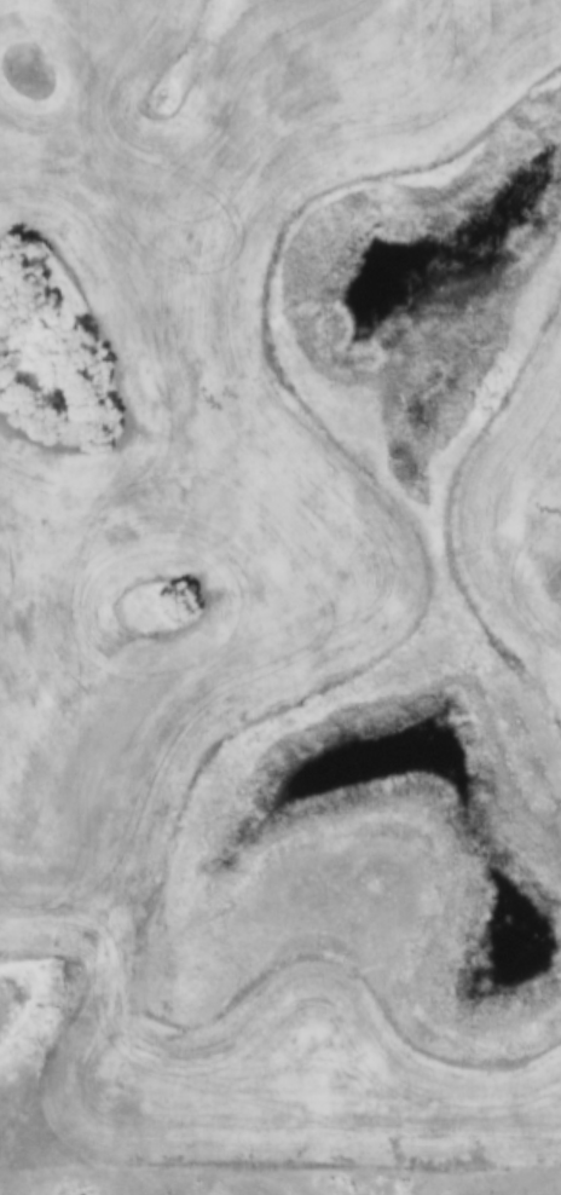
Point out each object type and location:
road: (279, 1154)

